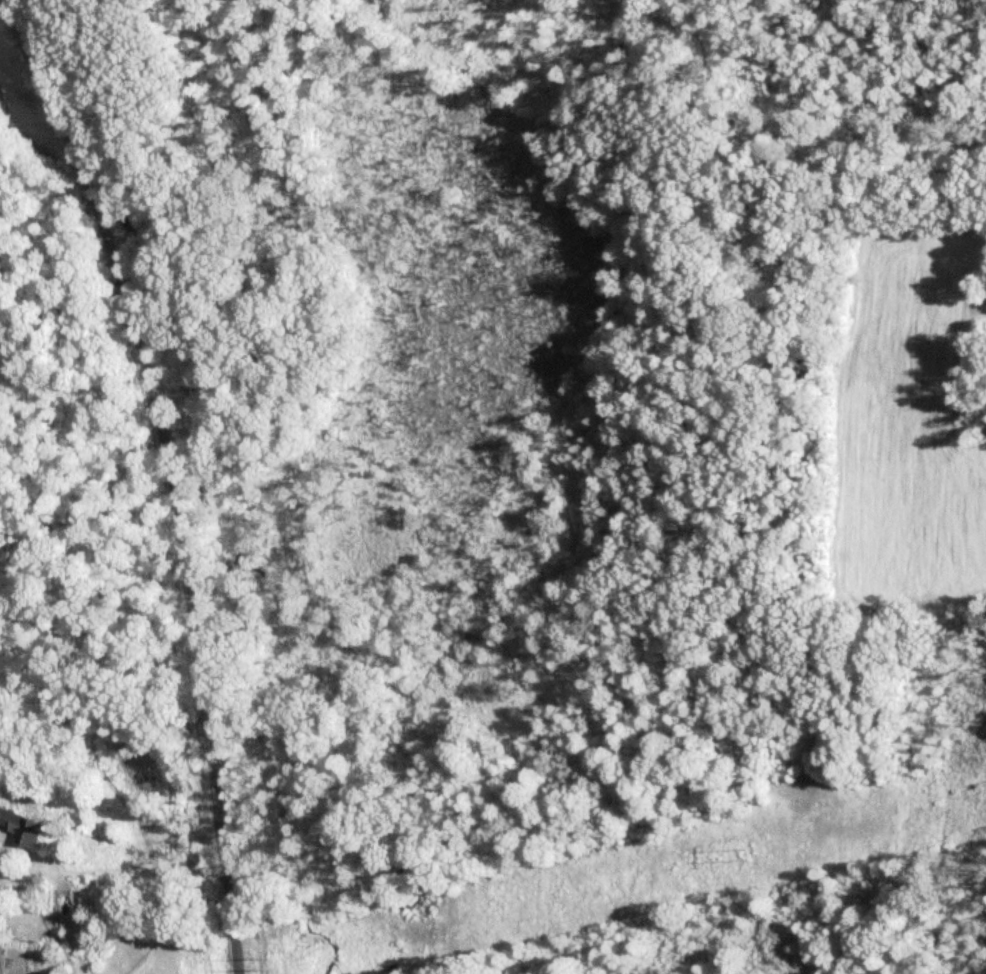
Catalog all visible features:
road: (170, 474)
building: (22, 829)

